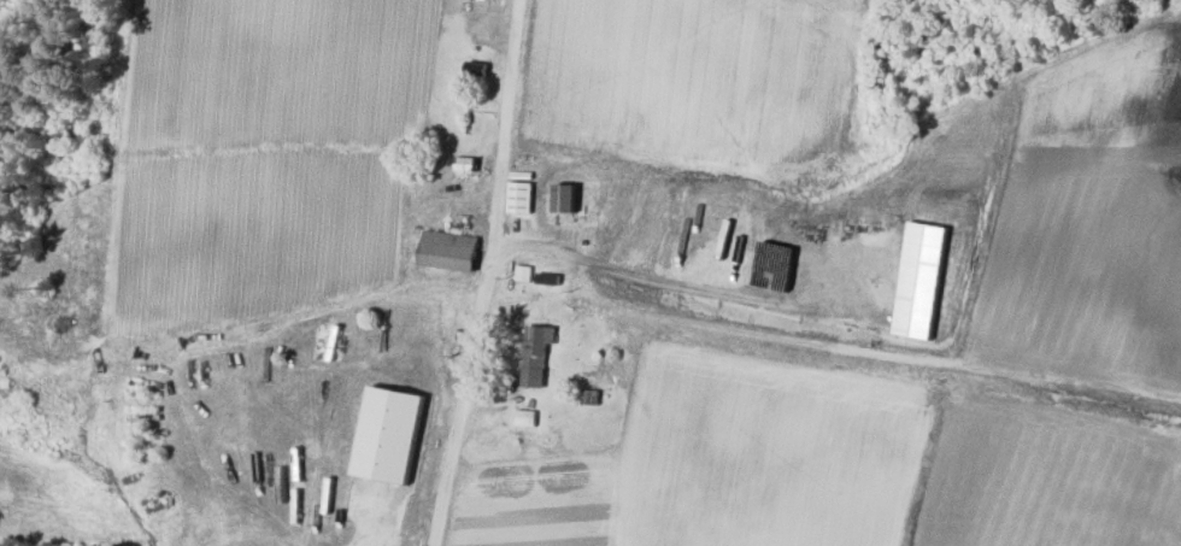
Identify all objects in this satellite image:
building: (518, 195)
building: (562, 196)
building: (448, 249)
building: (522, 271)
road: (487, 274)
building: (921, 278)
road: (671, 280)
building: (536, 352)
building: (389, 433)
road: (374, 519)

